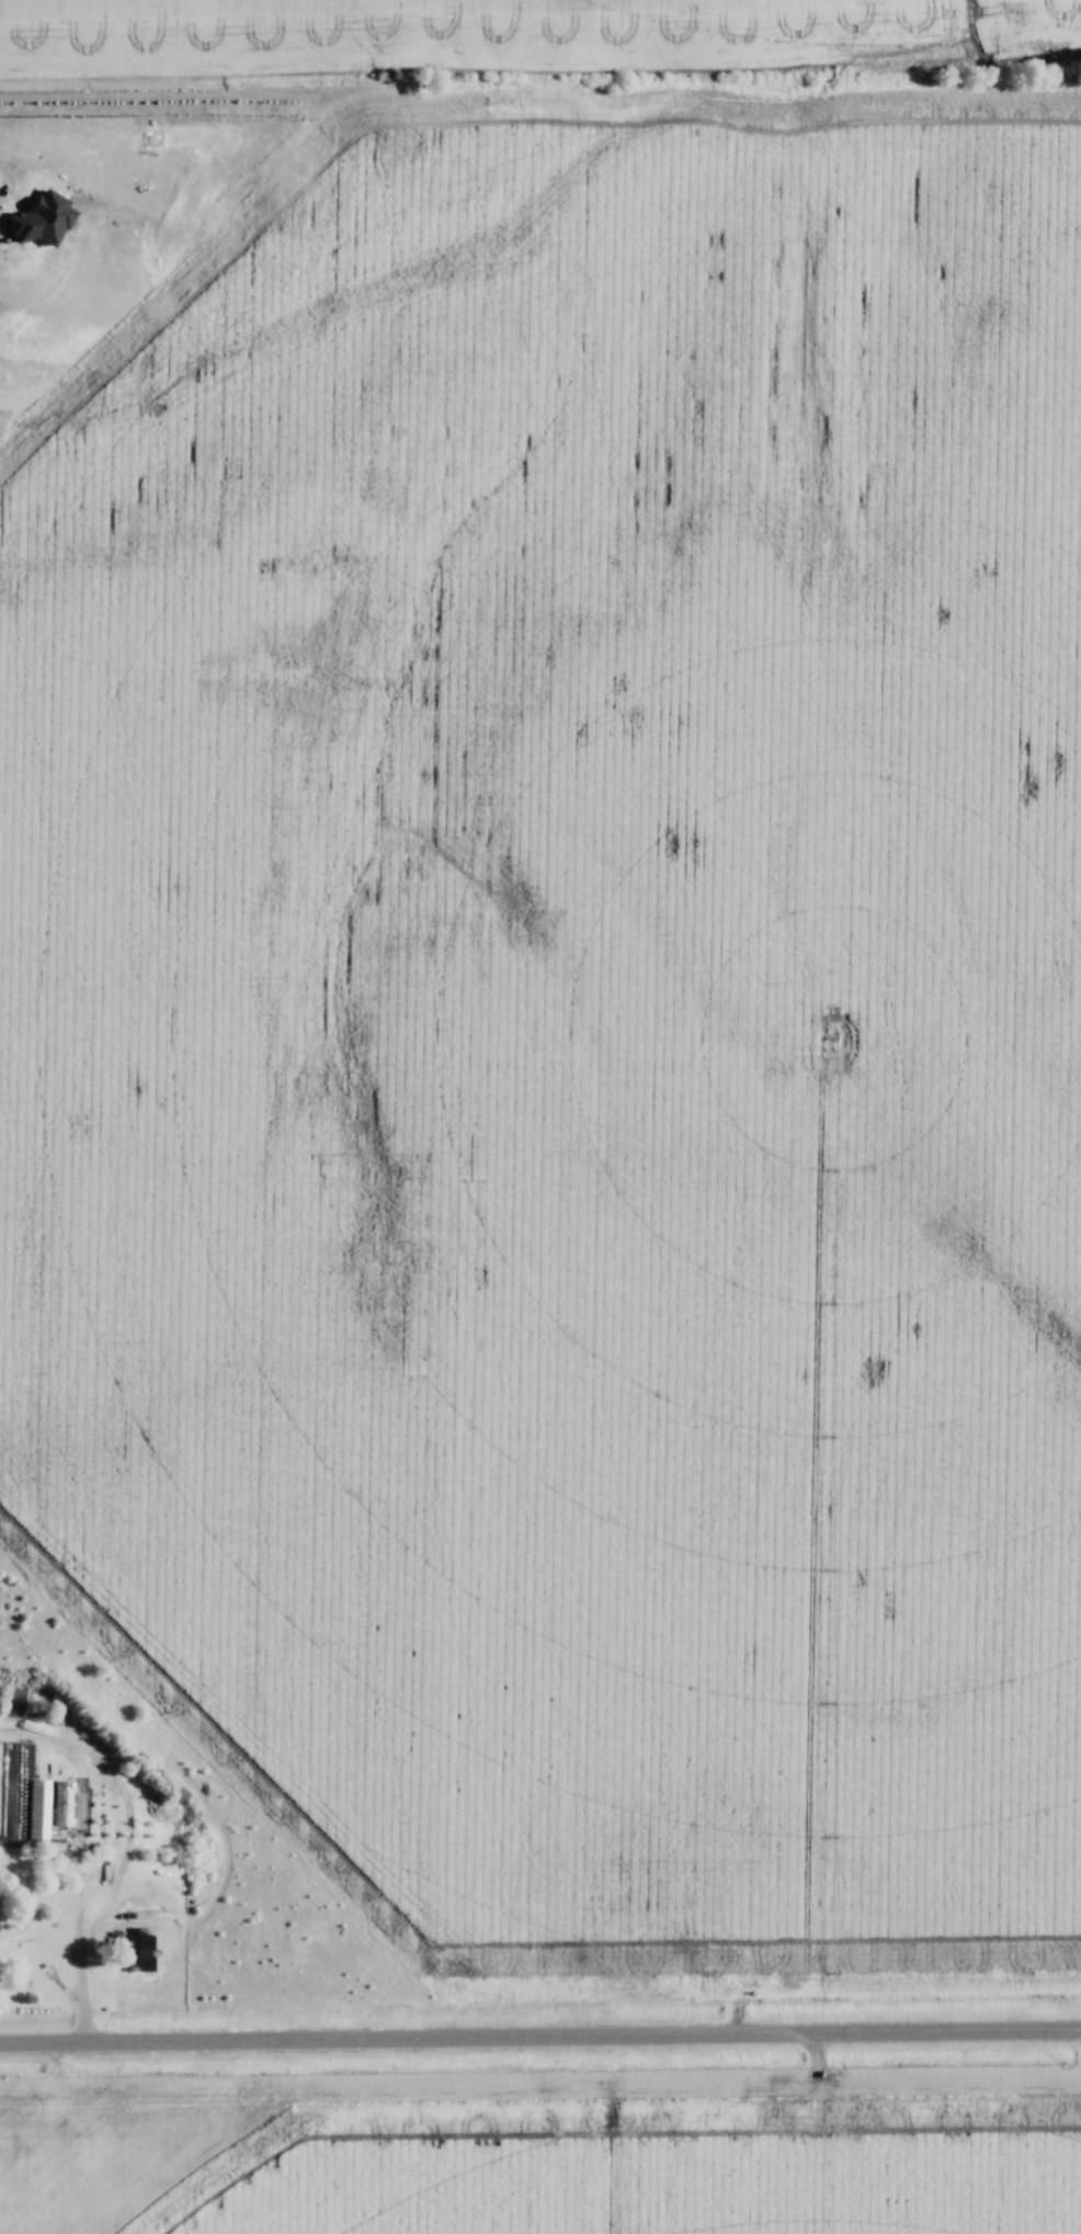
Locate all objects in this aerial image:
building: (147, 1952)
road: (539, 2038)

